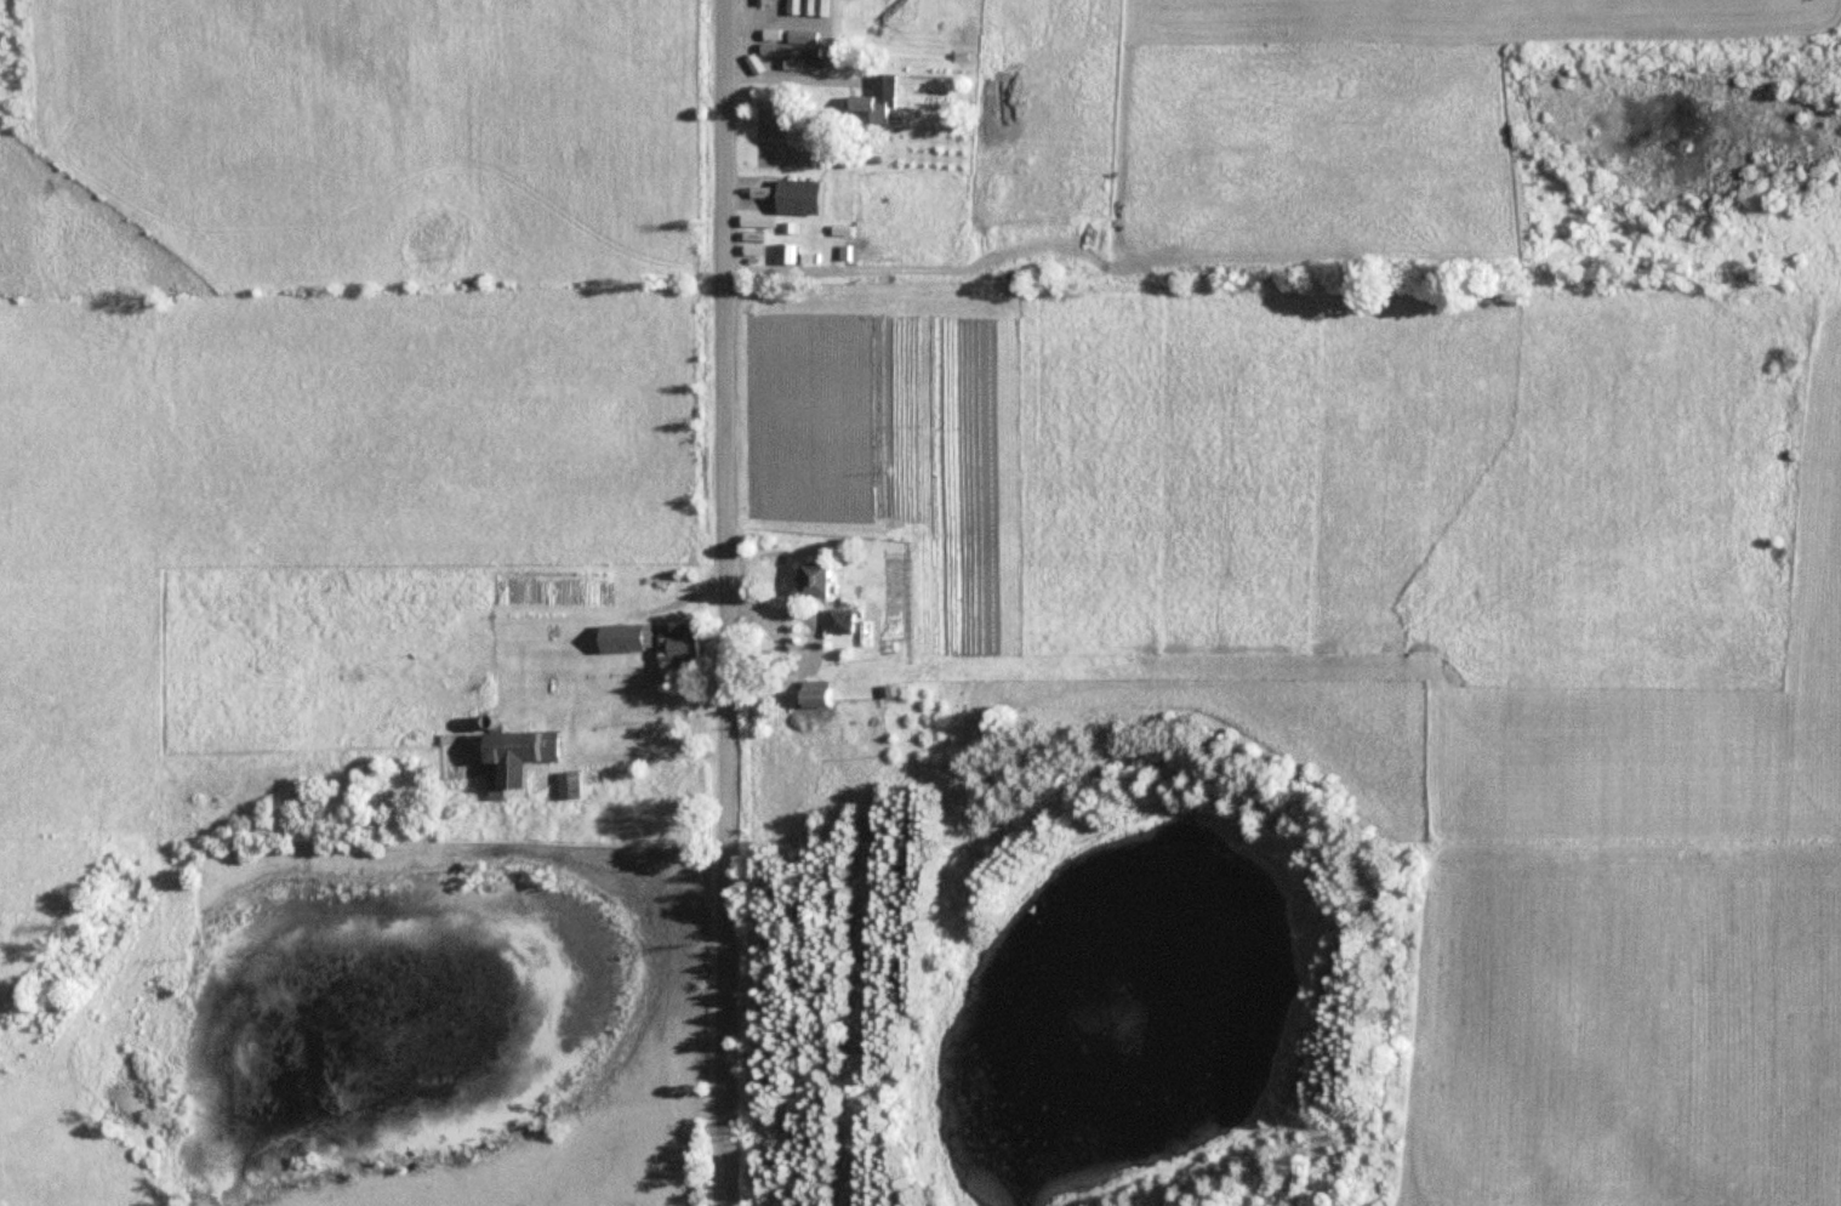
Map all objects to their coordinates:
building: (865, 17)
building: (990, 98)
building: (876, 99)
building: (798, 197)
building: (826, 271)
building: (810, 578)
road: (730, 603)
building: (839, 620)
building: (623, 637)
building: (679, 639)
building: (511, 756)
building: (335, 758)
building: (564, 784)

